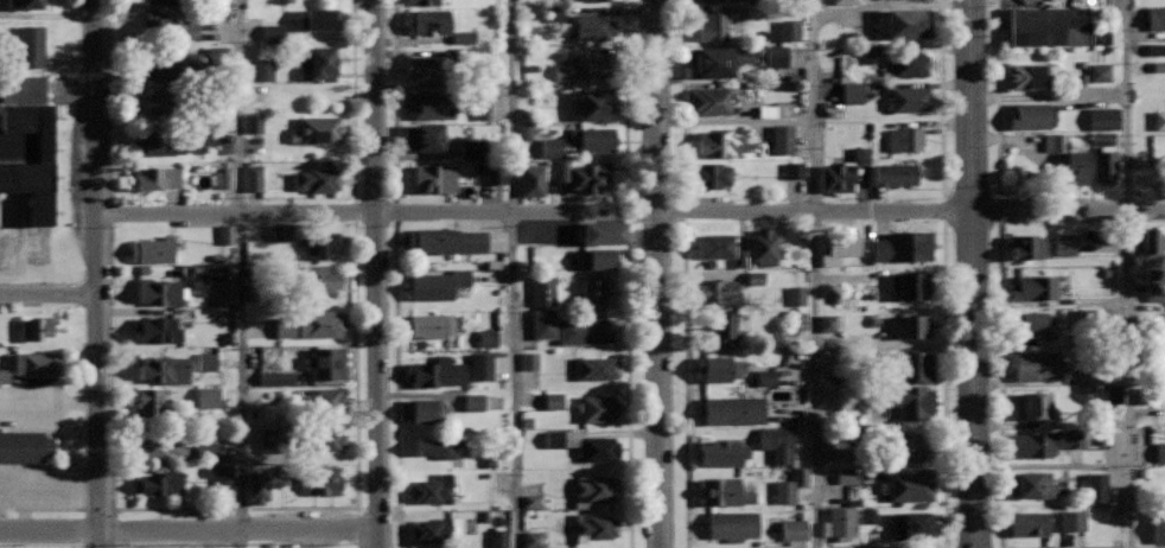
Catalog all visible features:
building: (148, 0)
building: (592, 0)
building: (426, 1)
building: (25, 2)
building: (845, 2)
building: (554, 13)
building: (1156, 18)
building: (319, 19)
building: (428, 21)
building: (909, 21)
building: (168, 25)
building: (594, 26)
building: (713, 26)
building: (1053, 26)
building: (789, 31)
building: (270, 33)
building: (461, 37)
building: (31, 45)
building: (1156, 50)
building: (871, 51)
building: (771, 57)
building: (717, 60)
building: (317, 63)
building: (908, 63)
building: (172, 66)
building: (1158, 66)
building: (425, 68)
building: (581, 68)
building: (262, 69)
building: (1099, 72)
building: (1031, 76)
building: (852, 93)
building: (909, 97)
road: (623, 98)
road: (680, 98)
road: (351, 100)
building: (709, 100)
road: (940, 100)
road: (108, 101)
building: (159, 101)
road: (391, 101)
building: (594, 103)
building: (428, 106)
building: (1030, 115)
building: (1103, 119)
building: (1159, 120)
building: (252, 123)
building: (316, 129)
building: (425, 136)
building: (1102, 138)
building: (25, 139)
building: (205, 139)
building: (904, 139)
building: (782, 140)
building: (161, 141)
building: (564, 141)
building: (721, 141)
building: (1055, 142)
building: (472, 151)
building: (860, 155)
building: (1077, 166)
building: (1103, 166)
building: (794, 171)
building: (586, 173)
building: (896, 173)
building: (494, 174)
building: (712, 174)
building: (433, 176)
building: (158, 177)
building: (252, 178)
building: (316, 178)
building: (838, 178)
building: (224, 180)
building: (530, 183)
road: (995, 183)
road: (630, 210)
building: (603, 231)
building: (281, 234)
building: (225, 235)
building: (446, 240)
building: (317, 241)
building: (843, 242)
building: (1026, 244)
building: (1063, 244)
building: (904, 246)
building: (1151, 246)
building: (719, 247)
building: (764, 247)
building: (152, 249)
building: (600, 257)
road: (374, 267)
road: (514, 273)
road: (657, 273)
road: (972, 273)
road: (96, 274)
road: (241, 274)
road: (813, 274)
road: (1128, 274)
building: (755, 279)
building: (322, 281)
road: (44, 282)
building: (911, 282)
building: (437, 285)
building: (1035, 287)
building: (159, 291)
building: (542, 291)
building: (715, 291)
building: (594, 292)
building: (1154, 293)
road: (47, 295)
building: (223, 295)
building: (796, 295)
building: (910, 318)
building: (1031, 321)
building: (312, 323)
building: (727, 323)
building: (827, 323)
building: (34, 325)
building: (431, 325)
building: (543, 325)
building: (157, 330)
building: (585, 330)
building: (486, 338)
building: (772, 340)
building: (206, 362)
building: (326, 362)
building: (529, 362)
building: (31, 364)
building: (1037, 364)
building: (164, 367)
building: (480, 367)
building: (909, 367)
building: (597, 368)
building: (719, 368)
building: (434, 371)
building: (765, 377)
road: (998, 382)
road: (394, 384)
road: (628, 384)
road: (682, 384)
building: (1114, 394)
building: (208, 397)
building: (325, 399)
building: (553, 401)
building: (909, 401)
building: (152, 402)
building: (472, 402)
building: (1032, 406)
road: (81, 407)
building: (599, 407)
building: (733, 409)
building: (424, 410)
road: (943, 416)
building: (272, 440)
building: (326, 440)
building: (1045, 441)
building: (776, 444)
building: (912, 444)
building: (24, 445)
building: (443, 445)
building: (163, 447)
building: (598, 448)
building: (210, 451)
building: (722, 452)
building: (1161, 452)
building: (845, 476)
building: (221, 477)
building: (322, 477)
building: (160, 483)
building: (1031, 484)
building: (909, 485)
building: (257, 486)
building: (790, 486)
building: (1096, 488)
building: (432, 489)
building: (593, 489)
building: (726, 491)
building: (531, 501)
road: (234, 508)
building: (868, 515)
building: (1071, 521)
building: (840, 522)
building: (1030, 523)
building: (733, 524)
building: (912, 524)
building: (1159, 525)
building: (596, 527)
building: (432, 530)
building: (794, 530)
road: (189, 533)
building: (497, 539)
building: (531, 540)
road: (380, 541)

